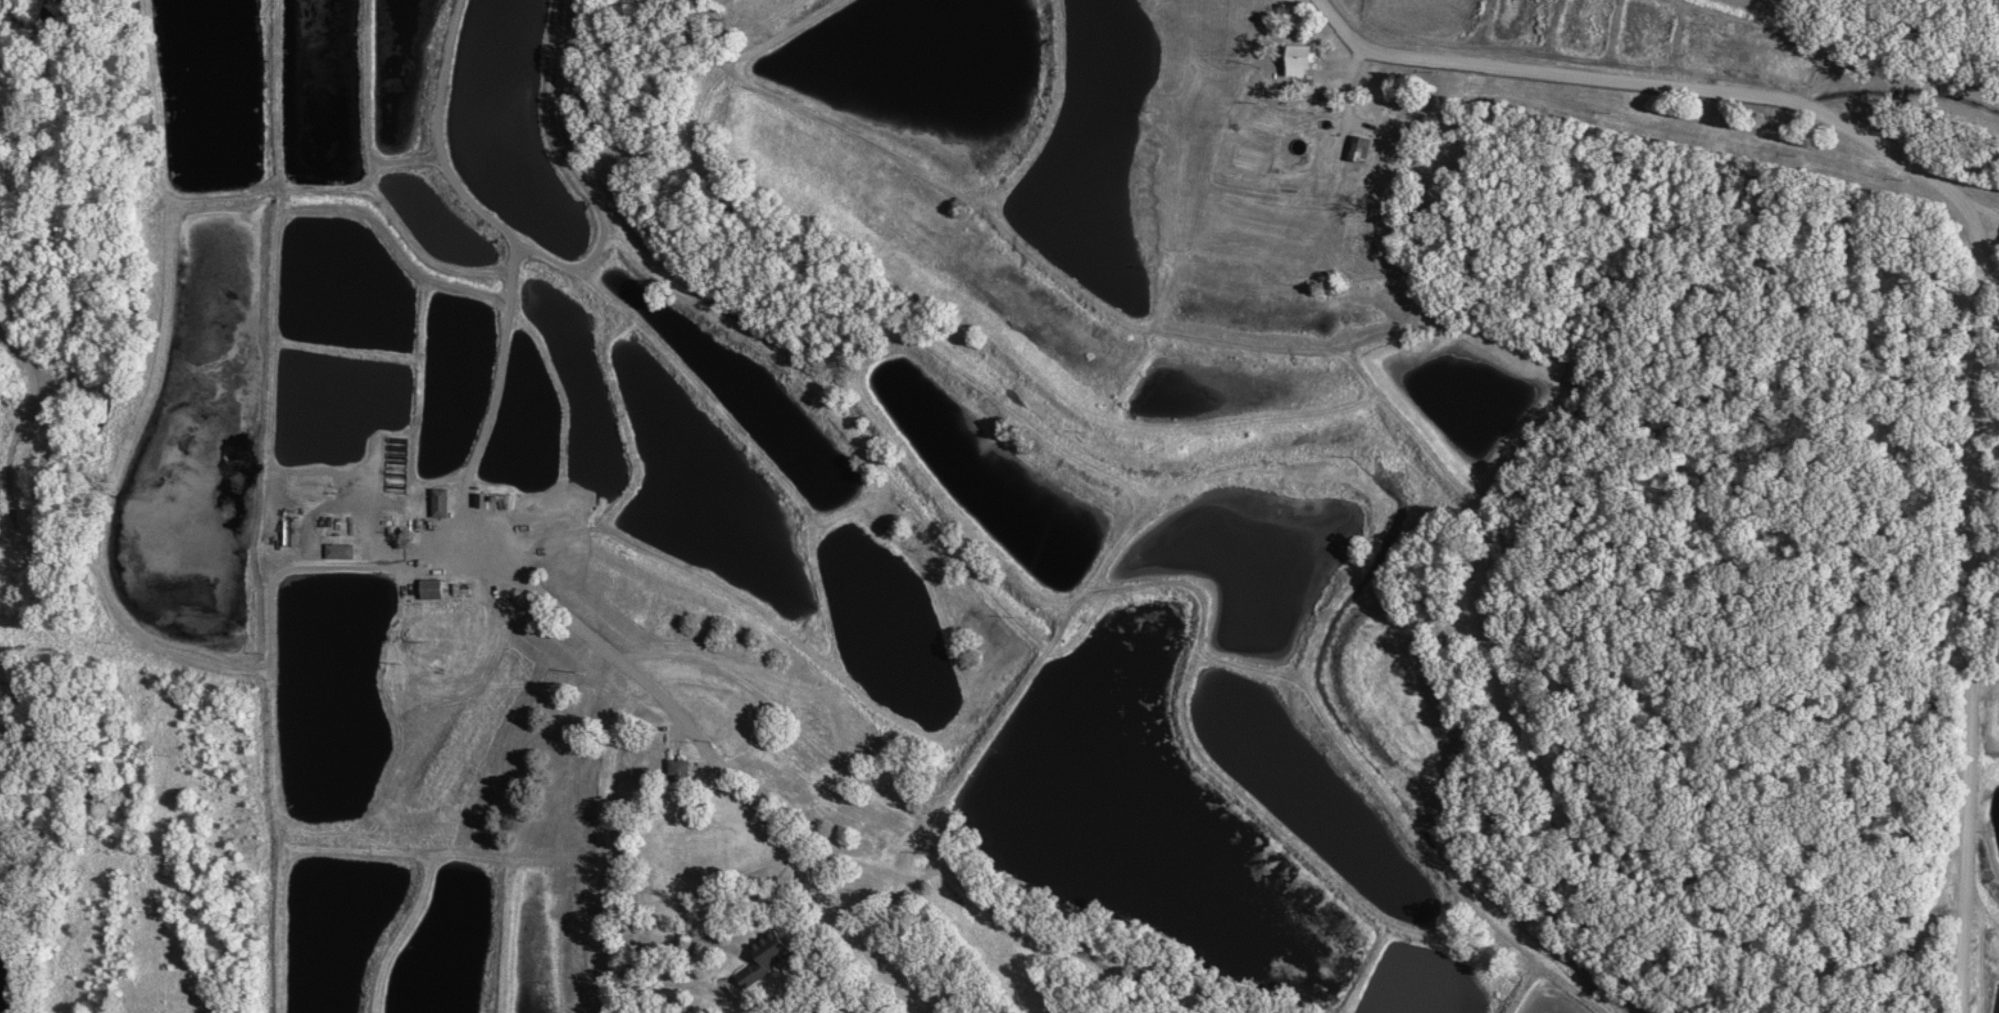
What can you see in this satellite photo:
building: (1296, 62)
building: (1353, 150)
road: (1988, 237)
road: (513, 246)
road: (1977, 266)
building: (438, 505)
building: (336, 553)
building: (428, 590)
road: (796, 732)
road: (702, 746)
building: (679, 772)
road: (575, 829)
road: (691, 896)
road: (746, 904)
building: (766, 960)

